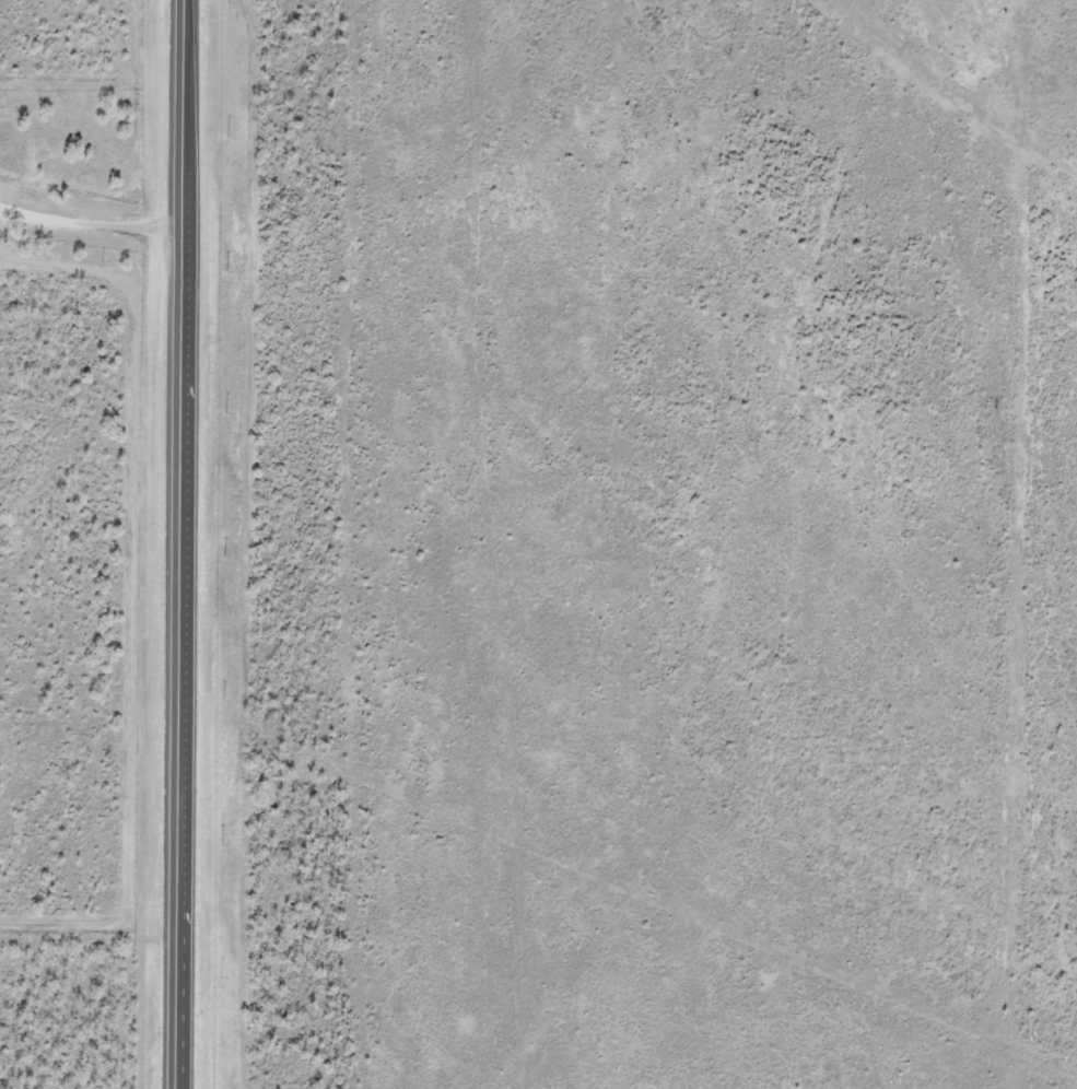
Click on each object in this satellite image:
road: (92, 230)
road: (184, 543)

